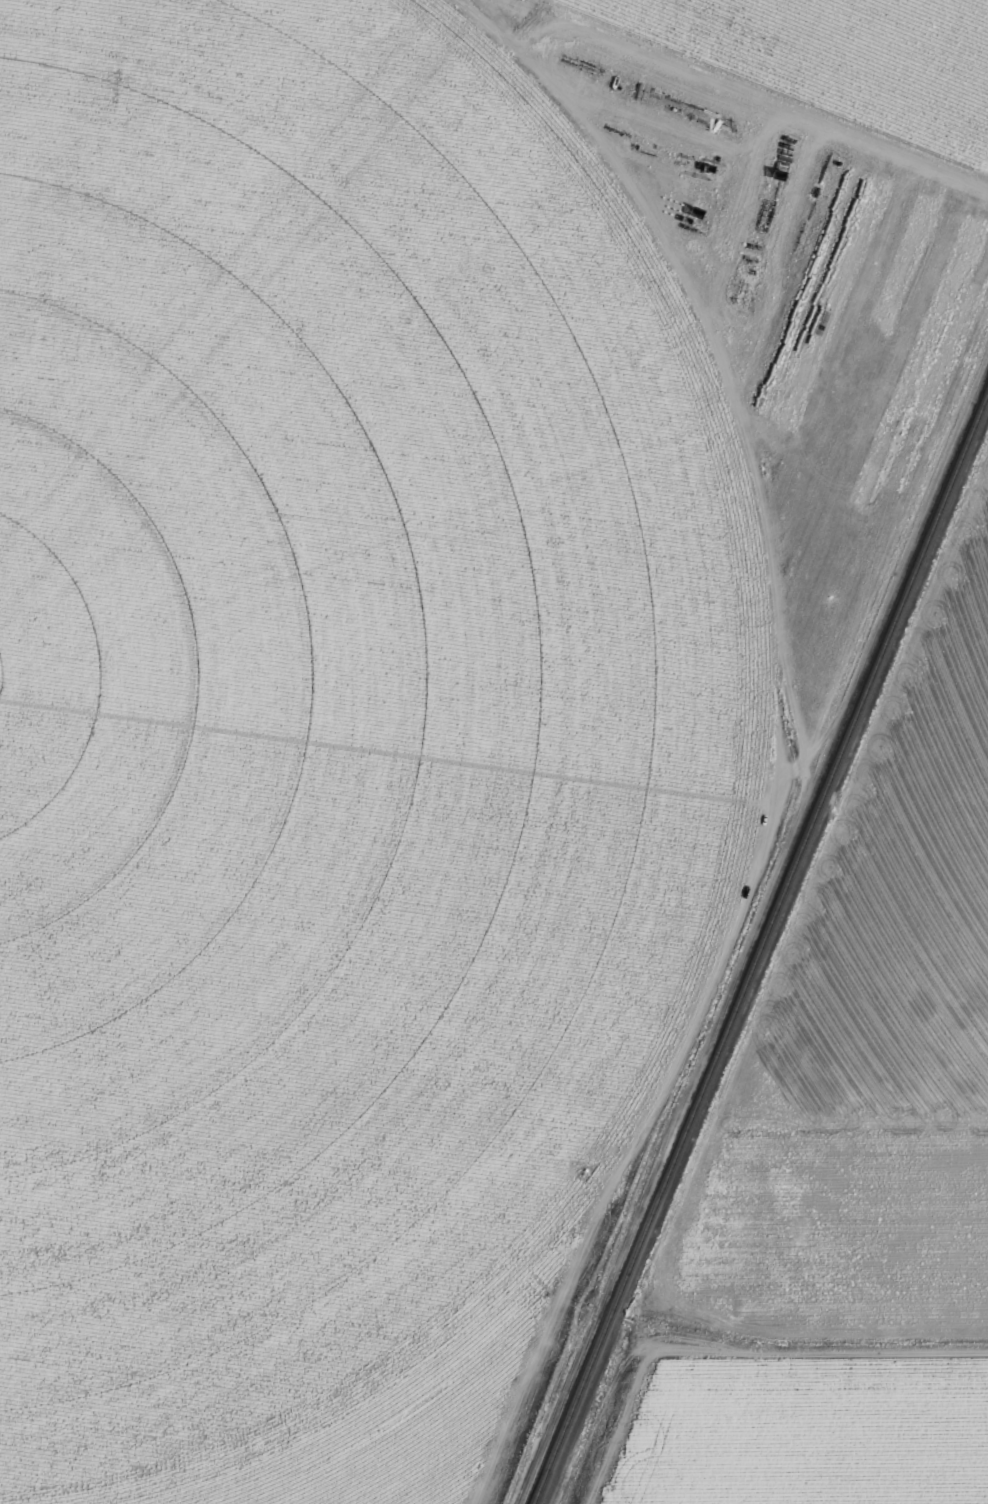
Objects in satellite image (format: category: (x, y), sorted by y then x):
crop: (851, 56)
road: (772, 732)
crop: (334, 735)
railway: (761, 947)
road: (730, 1350)

